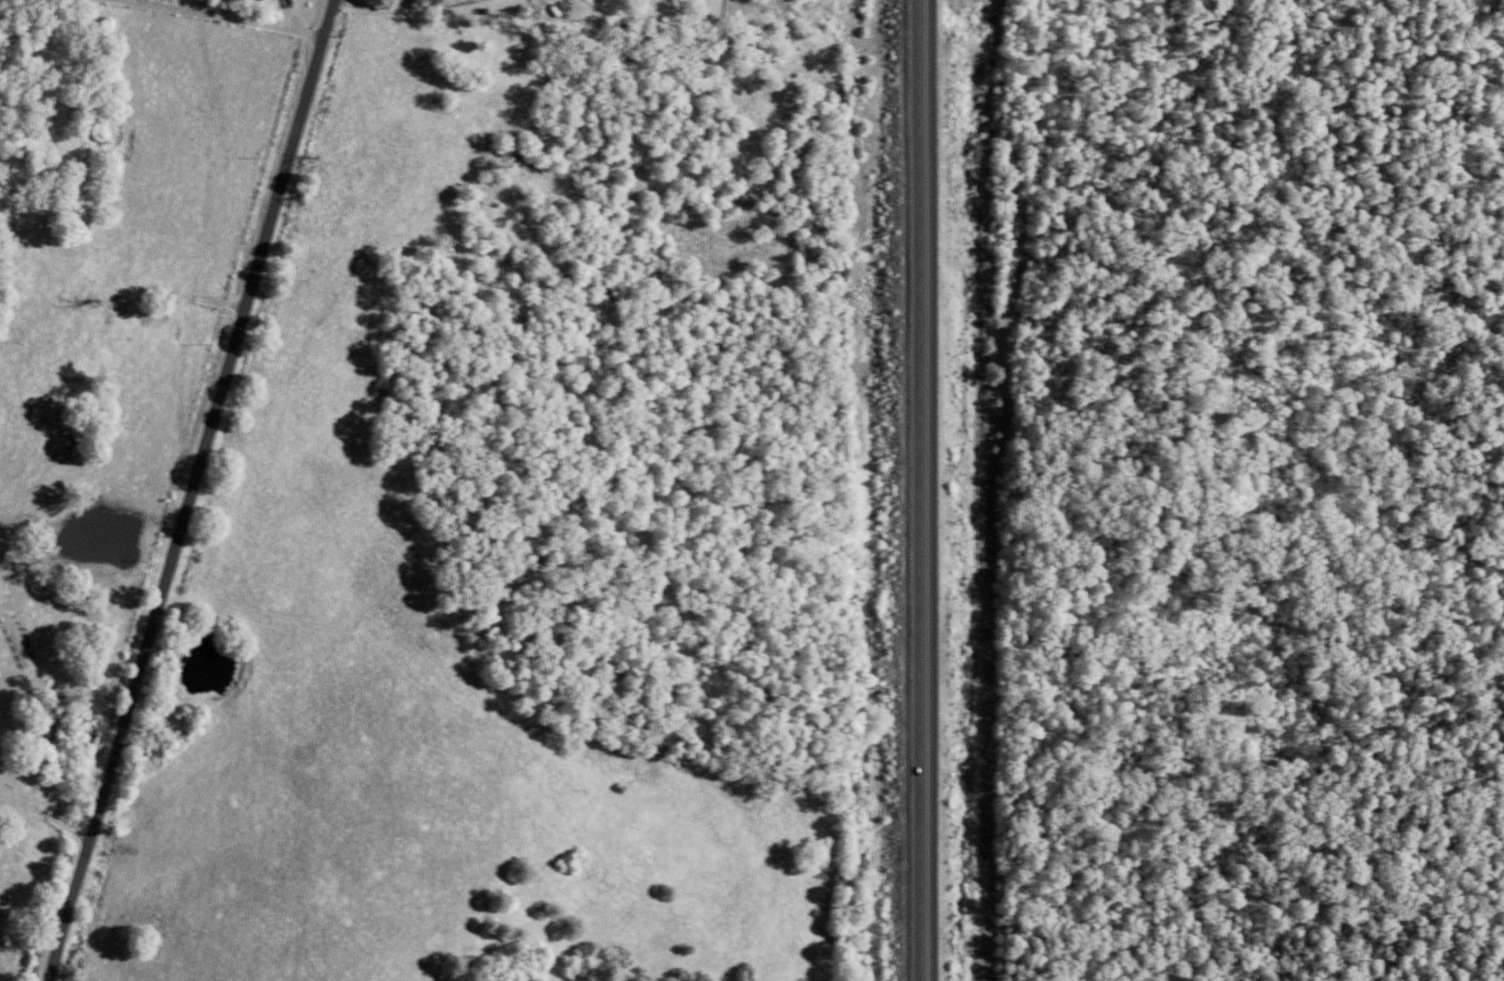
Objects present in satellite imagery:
road: (395, 4)
road: (215, 16)
road: (177, 303)
road: (191, 490)
road: (920, 490)

